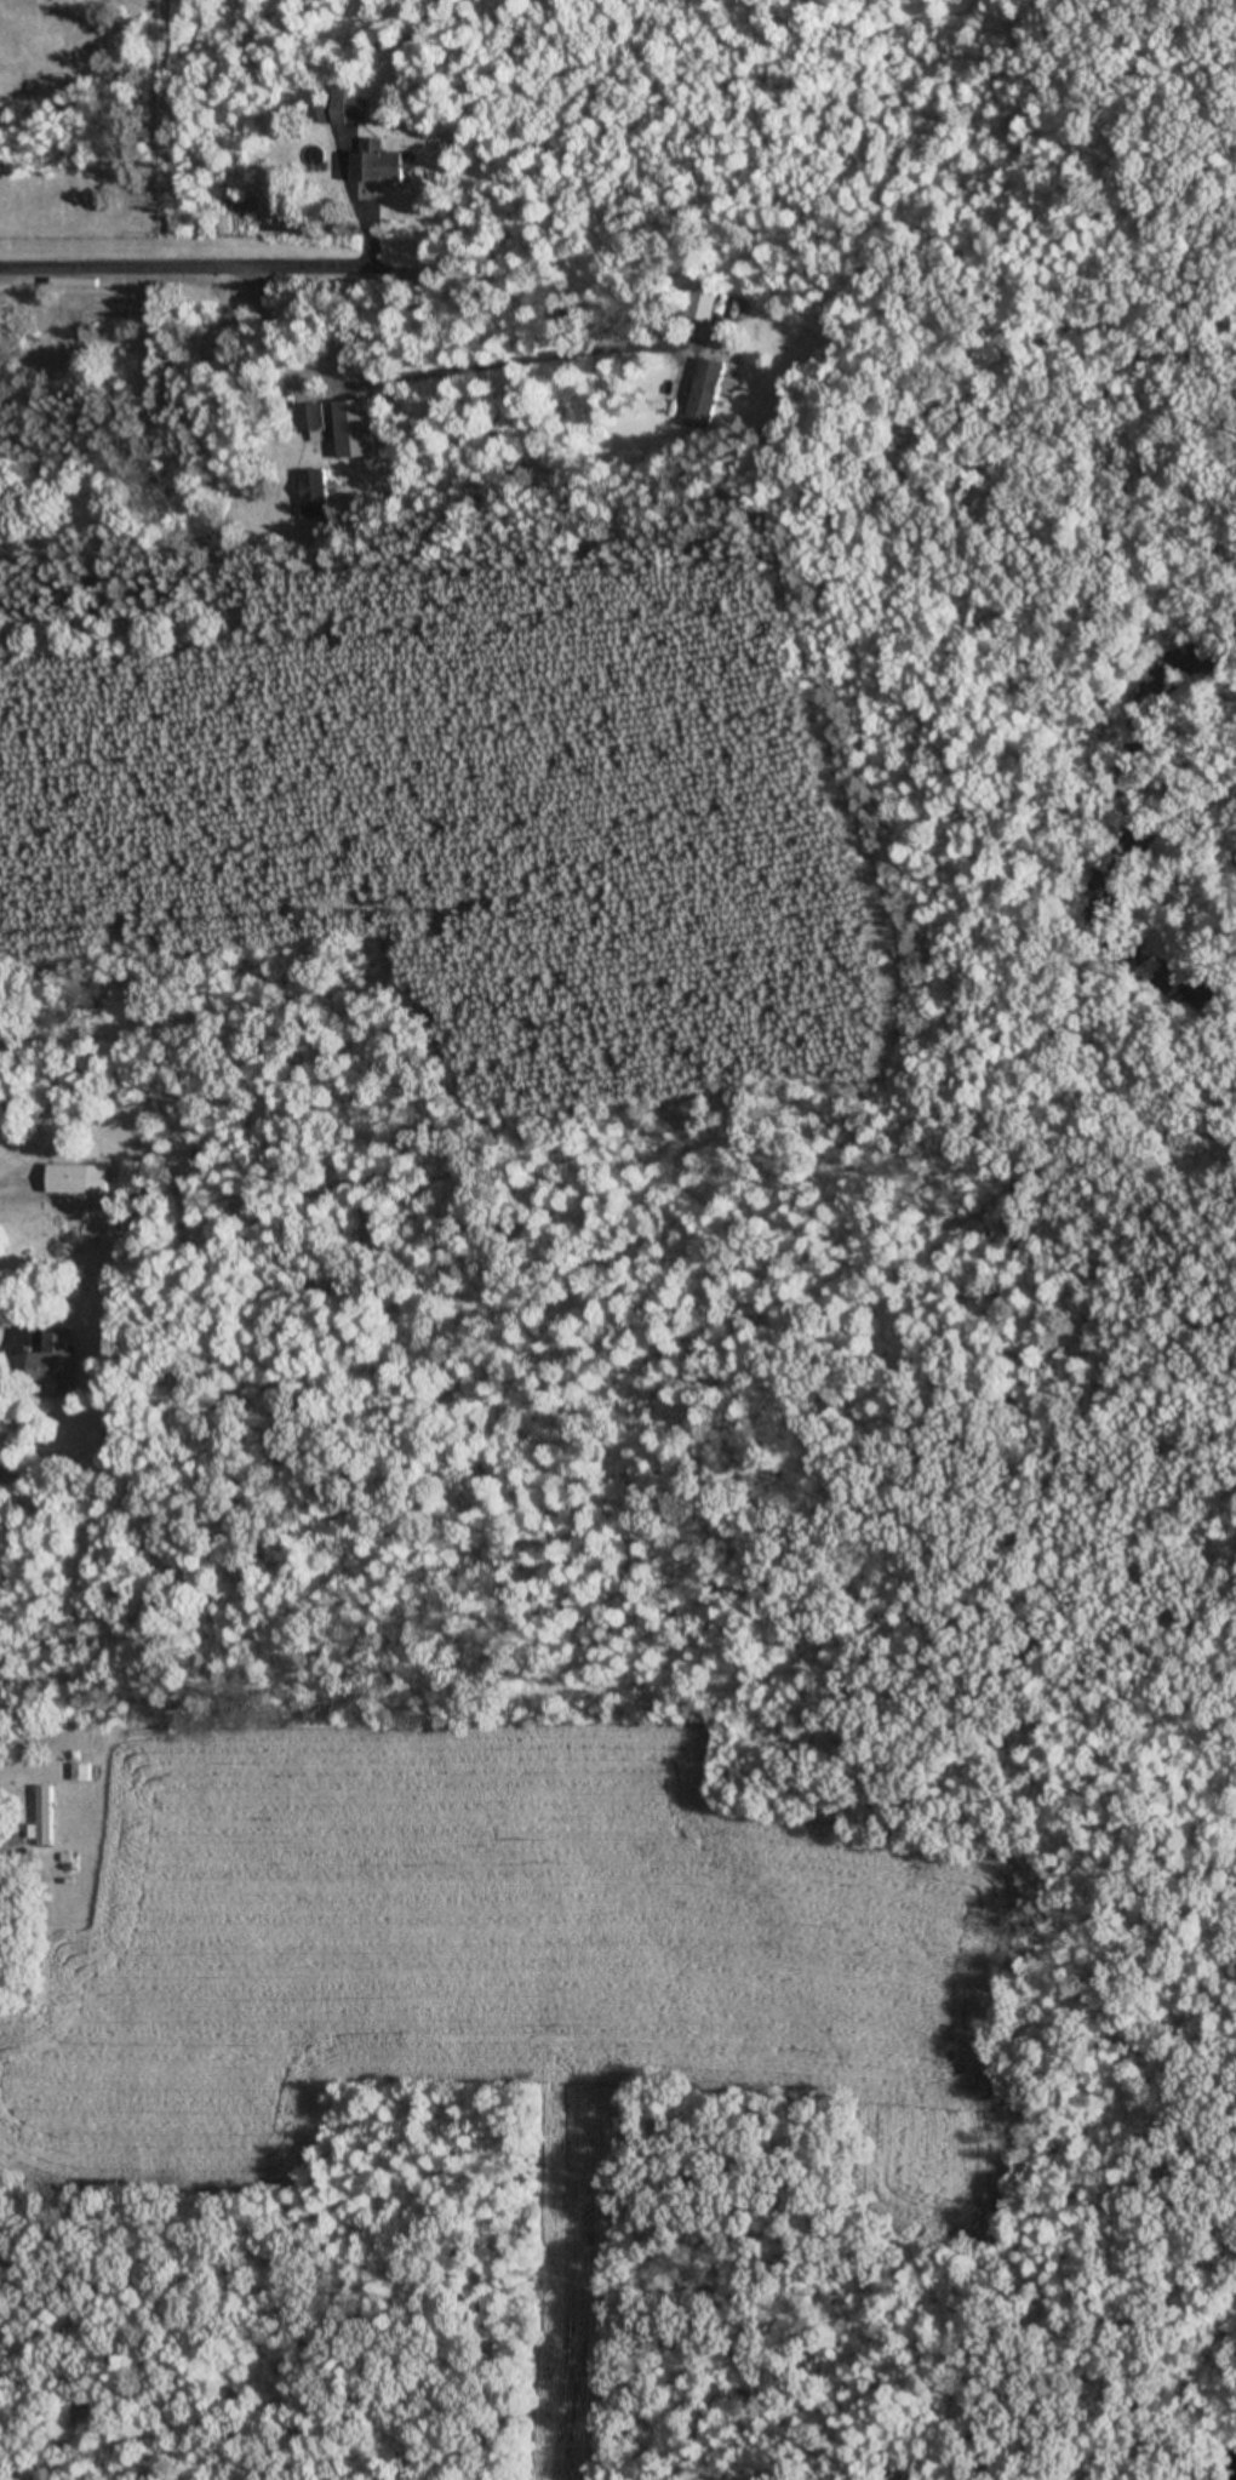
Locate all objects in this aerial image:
building: (348, 108)
building: (382, 167)
road: (193, 270)
building: (704, 303)
road: (441, 365)
building: (311, 417)
building: (315, 491)
building: (131, 1176)
building: (80, 1178)
building: (58, 1360)
building: (81, 1772)
building: (45, 1816)

